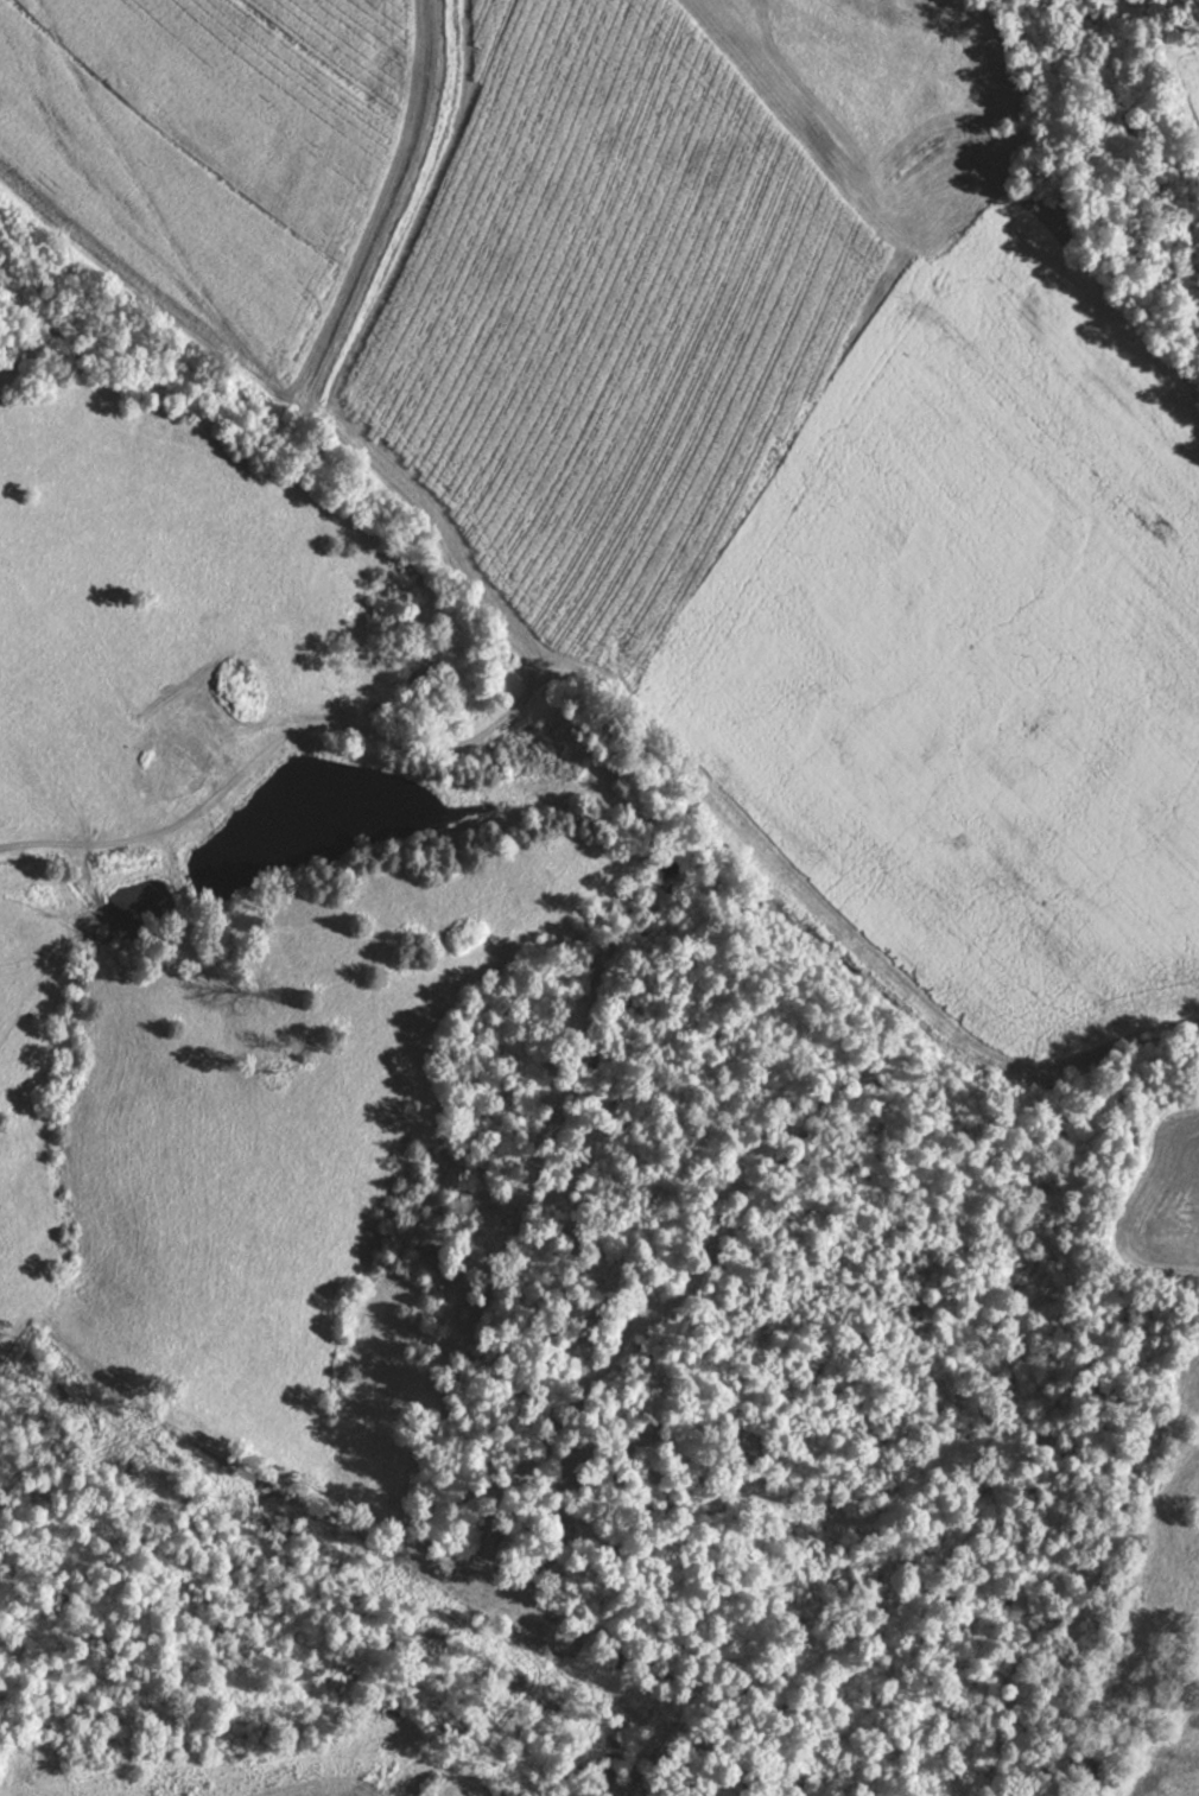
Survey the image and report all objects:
road: (242, 775)
building: (1096, 1772)

